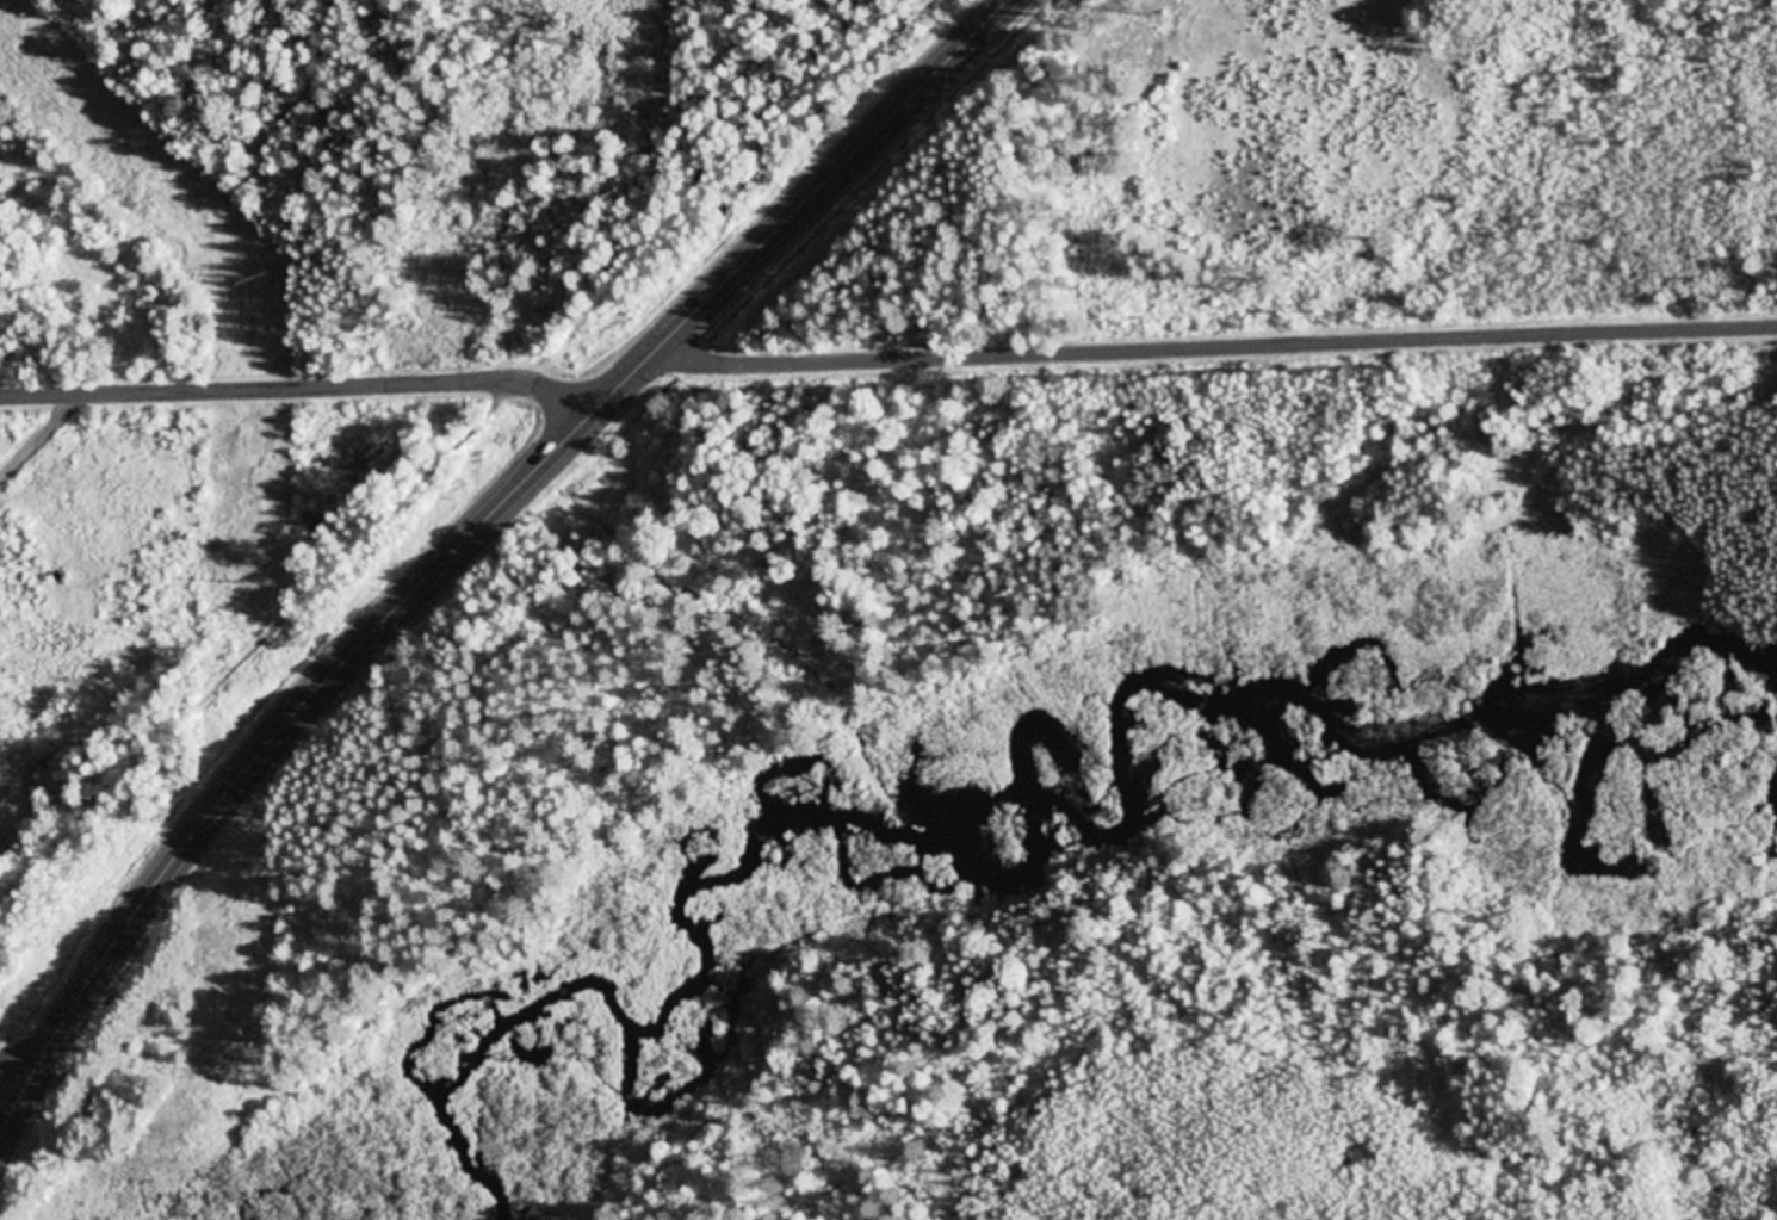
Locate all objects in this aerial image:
park: (1357, 168)
power tower: (256, 279)
road: (1219, 348)
road: (301, 386)
road: (470, 541)
power tower: (250, 584)
road: (16, 1078)
power tower: (242, 1079)

